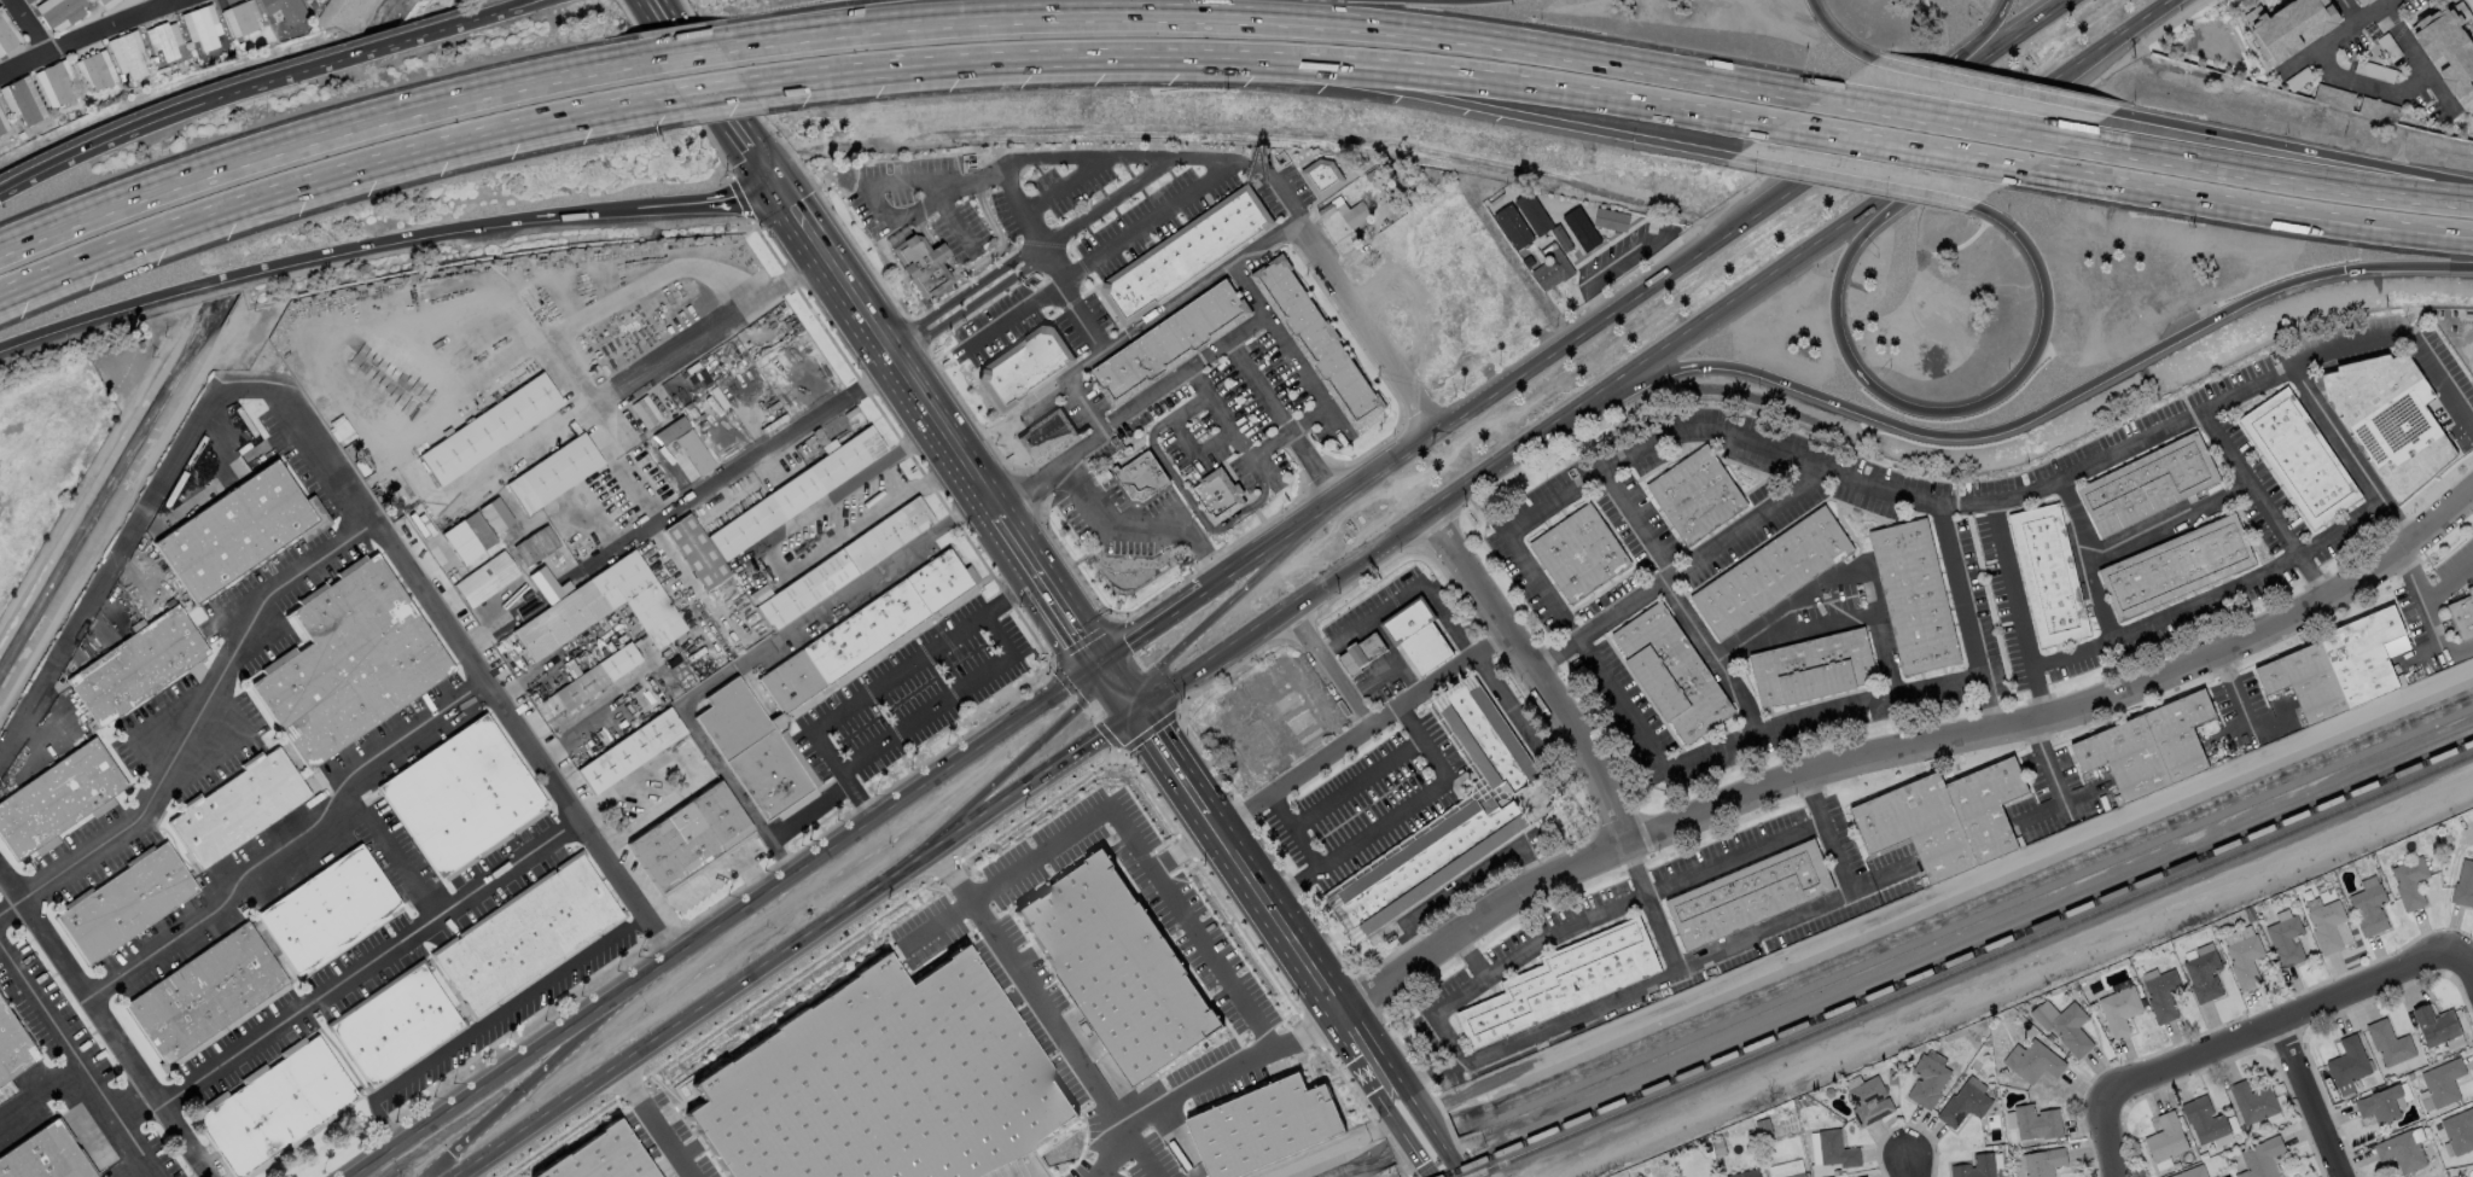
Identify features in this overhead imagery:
building: (307, 0)
road: (165, 1)
building: (104, 2)
building: (2361, 2)
road: (1129, 4)
road: (525, 7)
building: (284, 10)
road: (2349, 11)
building: (63, 12)
road: (1269, 13)
building: (243, 19)
building: (2288, 25)
road: (29, 27)
building: (204, 30)
road: (1838, 35)
road: (2338, 35)
road: (85, 36)
building: (6, 37)
building: (165, 42)
building: (2448, 46)
road: (682, 47)
road: (1968, 48)
building: (132, 57)
road: (2414, 58)
road: (913, 66)
road: (1428, 71)
building: (95, 72)
road: (700, 75)
road: (272, 82)
building: (59, 85)
road: (2368, 86)
road: (2007, 87)
road: (712, 92)
building: (2333, 95)
road: (1406, 97)
building: (23, 103)
building: (2378, 109)
road: (1950, 121)
road: (1245, 128)
building: (1, 130)
road: (318, 130)
road: (1904, 146)
road: (2306, 151)
road: (1159, 164)
road: (2277, 175)
building: (1320, 176)
road: (332, 179)
road: (927, 179)
road: (1854, 179)
road: (1275, 181)
road: (1053, 186)
traffic signals: (778, 192)
road: (706, 200)
road: (2251, 205)
road: (1101, 206)
road: (1018, 209)
building: (1531, 215)
road: (910, 216)
building: (1356, 216)
building: (1607, 218)
building: (1511, 228)
building: (1579, 229)
road: (925, 231)
road: (1000, 244)
road: (1264, 244)
road: (938, 252)
road: (313, 254)
building: (1186, 254)
road: (1803, 257)
building: (923, 263)
building: (1552, 267)
traffic signals: (2344, 270)
road: (961, 293)
road: (1634, 295)
road: (1075, 298)
road: (968, 304)
road: (1156, 316)
road: (1013, 319)
road: (1366, 327)
road: (706, 330)
road: (874, 331)
road: (2404, 338)
building: (1320, 342)
building: (1170, 345)
building: (291, 362)
building: (1023, 363)
building: (597, 369)
road: (1302, 372)
road: (2056, 401)
road: (1084, 408)
road: (1922, 409)
road: (1129, 413)
building: (644, 415)
building: (2388, 420)
road: (1281, 421)
building: (772, 426)
building: (343, 430)
building: (490, 430)
road: (1684, 433)
building: (1043, 435)
road: (1234, 437)
road: (1186, 443)
building: (693, 451)
building: (2300, 456)
road: (2355, 459)
building: (554, 474)
building: (1140, 476)
road: (338, 482)
building: (2149, 484)
building: (797, 494)
building: (1695, 494)
road: (1086, 495)
building: (1222, 499)
building: (494, 502)
road: (2264, 505)
road: (682, 506)
road: (2166, 518)
road: (1635, 524)
road: (1947, 528)
building: (239, 531)
road: (1130, 532)
road: (1192, 534)
building: (469, 538)
road: (1020, 544)
building: (507, 546)
building: (535, 547)
building: (1578, 550)
road: (1076, 553)
building: (696, 554)
road: (2087, 559)
road: (768, 561)
building: (2178, 565)
building: (844, 566)
building: (533, 569)
building: (1771, 572)
building: (2049, 575)
building: (487, 581)
road: (2014, 582)
road: (2449, 583)
road: (1826, 585)
building: (2472, 590)
building: (1914, 596)
building: (170, 604)
road: (1223, 607)
road: (1385, 607)
building: (604, 610)
road: (808, 614)
road: (2431, 614)
road: (1282, 616)
building: (2465, 616)
road: (1071, 619)
road: (1835, 620)
road: (1599, 624)
road: (1152, 628)
building: (1419, 635)
building: (1364, 654)
building: (349, 663)
traffic signals: (1100, 664)
building: (138, 666)
building: (1811, 668)
building: (2335, 668)
road: (1328, 670)
road: (1387, 670)
road: (1454, 671)
road: (1536, 674)
building: (1670, 674)
building: (598, 677)
building: (820, 678)
road: (884, 682)
road: (1116, 691)
road: (1893, 695)
road: (2238, 695)
road: (947, 699)
building: (546, 706)
road: (2070, 711)
traffic signals: (1136, 716)
road: (1521, 721)
road: (2247, 724)
road: (192, 726)
building: (1486, 741)
road: (1424, 744)
building: (2149, 747)
building: (630, 752)
road: (1721, 752)
road: (2049, 769)
road: (979, 780)
road: (1356, 785)
building: (58, 799)
building: (462, 799)
building: (238, 808)
road: (2043, 811)
building: (1945, 818)
road: (791, 821)
road: (1292, 831)
building: (688, 838)
road: (290, 841)
building: (45, 845)
road: (1046, 845)
road: (389, 850)
road: (1239, 862)
road: (1840, 862)
building: (1425, 866)
road: (1707, 872)
building: (2409, 881)
road: (1460, 884)
building: (2463, 885)
building: (1750, 897)
building: (126, 903)
building: (2369, 909)
building: (330, 911)
road: (725, 920)
road: (1482, 920)
building: (2326, 925)
road: (1192, 926)
building: (528, 937)
building: (2286, 940)
road: (1729, 945)
road: (798, 946)
road: (1471, 954)
road: (374, 960)
railway: (1957, 960)
building: (2245, 960)
road: (2465, 961)
building: (1115, 962)
road: (1502, 962)
railway: (1974, 967)
building: (2203, 975)
building: (1570, 980)
road: (1025, 983)
building: (2163, 995)
building: (208, 997)
road: (519, 1008)
building: (2119, 1009)
road: (105, 1024)
building: (2436, 1024)
building: (2065, 1025)
building: (396, 1026)
road: (2242, 1033)
road: (1537, 1037)
building: (2388, 1042)
building: (12, 1050)
road: (1368, 1051)
road: (76, 1059)
building: (2033, 1060)
building: (2347, 1064)
building: (879, 1080)
building: (1927, 1080)
building: (2443, 1082)
road: (1205, 1085)
road: (523, 1090)
road: (41, 1095)
road: (1404, 1100)
building: (1869, 1100)
road: (2311, 1100)
building: (2253, 1101)
building: (1962, 1105)
building: (2380, 1105)
road: (1393, 1107)
building: (275, 1108)
road: (140, 1114)
building: (2203, 1119)
building: (1259, 1121)
building: (2036, 1121)
road: (654, 1124)
road: (1432, 1130)
building: (2459, 1130)
building: (2166, 1137)
road: (1409, 1142)
building: (1835, 1149)
building: (2403, 1149)
building: (595, 1155)
building: (2262, 1156)
building: (45, 1158)
road: (1903, 1160)
building: (2043, 1161)
road: (1457, 1165)
building: (2020, 1165)
building: (1787, 1166)
building: (1976, 1166)
road: (1428, 1171)
building: (1744, 1171)
building: (2192, 1171)
building: (1863, 1176)
building: (2217, 1176)

